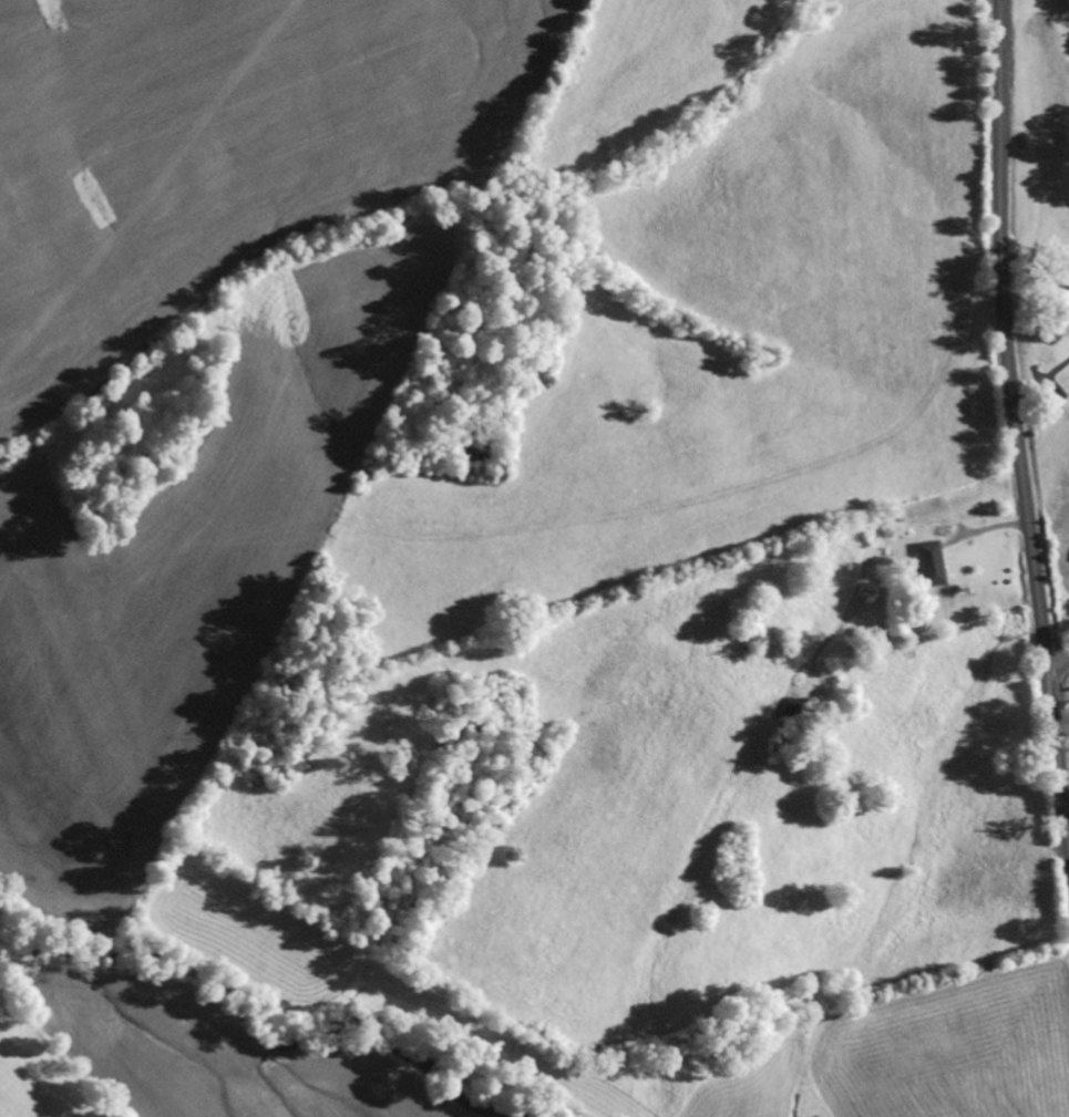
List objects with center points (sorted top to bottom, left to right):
building: (1065, 304)
road: (1015, 420)
building: (923, 565)
road: (1057, 659)

